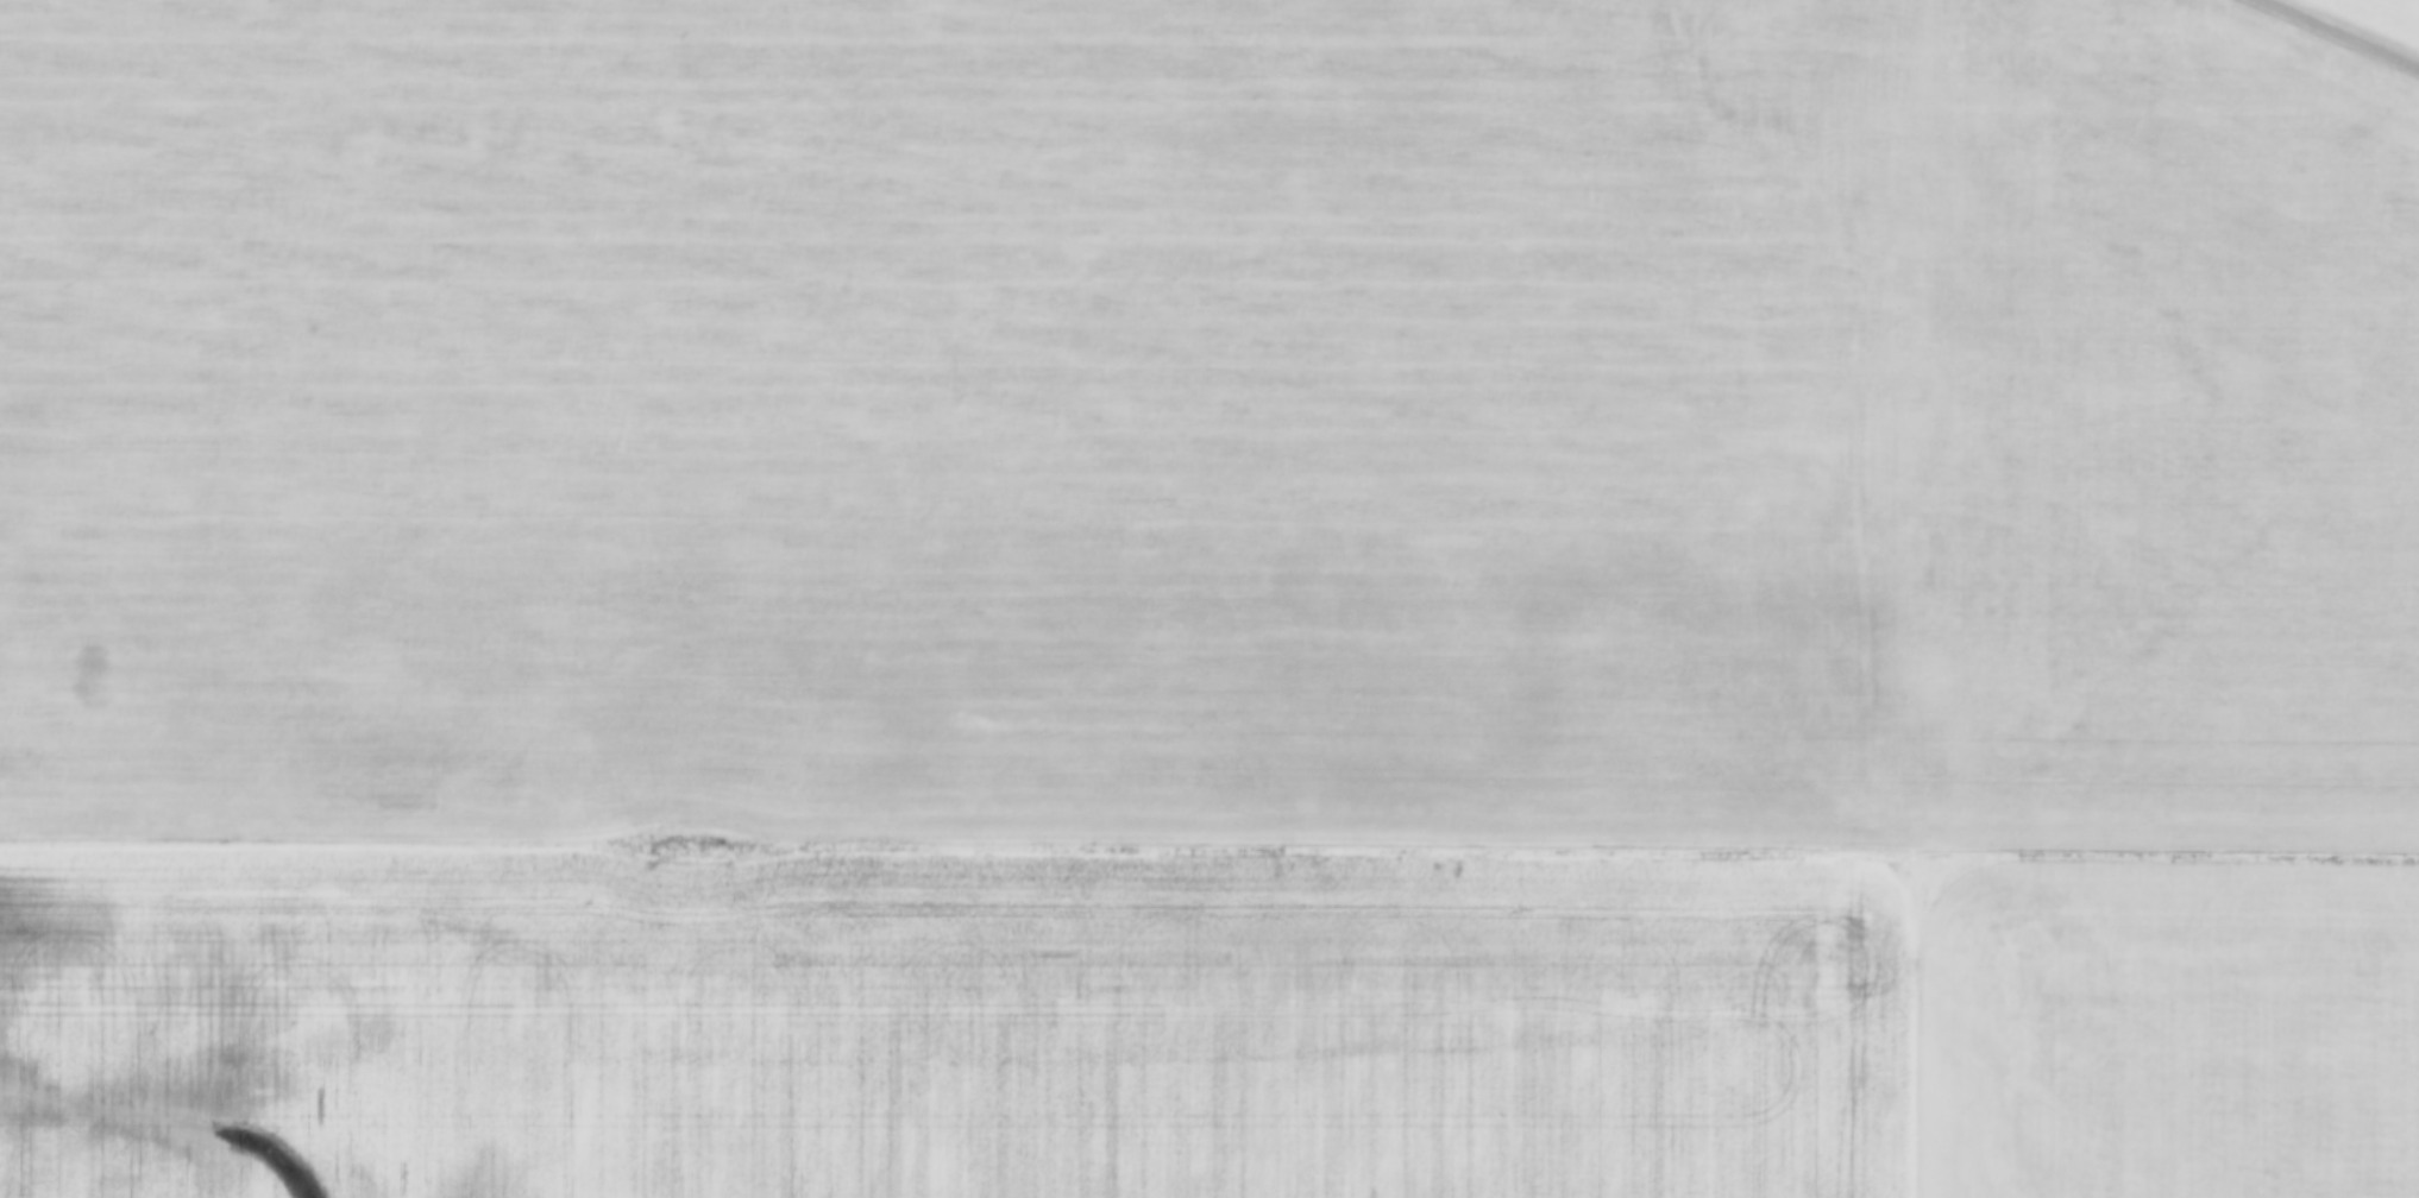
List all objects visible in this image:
road: (2362, 24)

